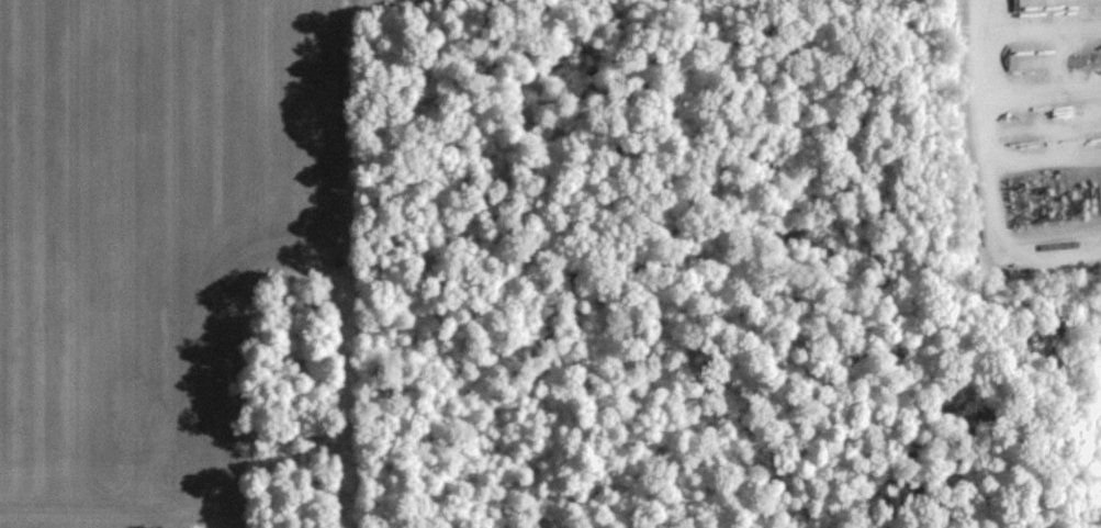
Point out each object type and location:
crop: (154, 231)
crop: (1033, 526)
crop: (5, 527)

